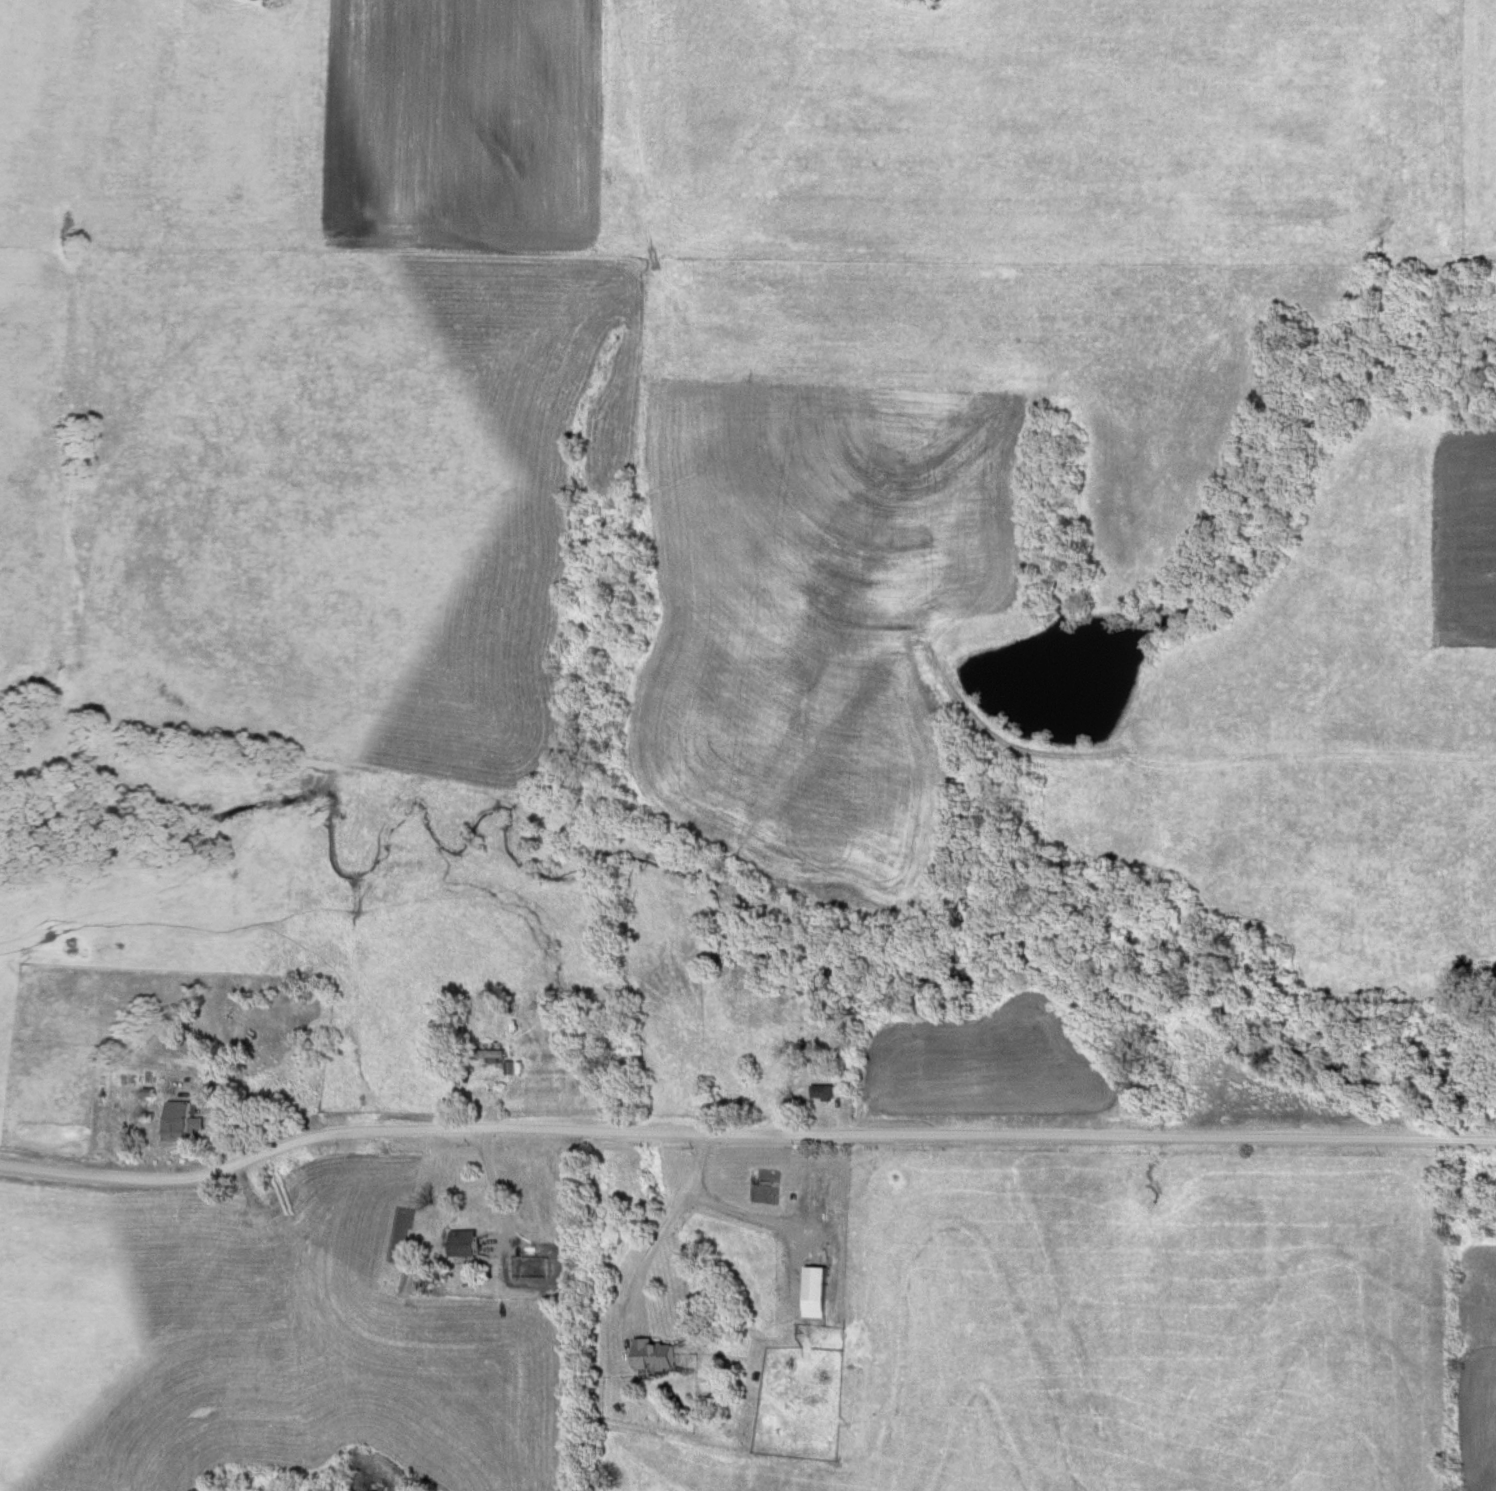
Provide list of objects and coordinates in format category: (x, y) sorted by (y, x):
building: (822, 1094)
building: (179, 1122)
road: (744, 1140)
road: (496, 1184)
road: (752, 1215)
road: (667, 1221)
building: (463, 1245)
building: (421, 1284)
building: (814, 1285)
building: (654, 1355)

